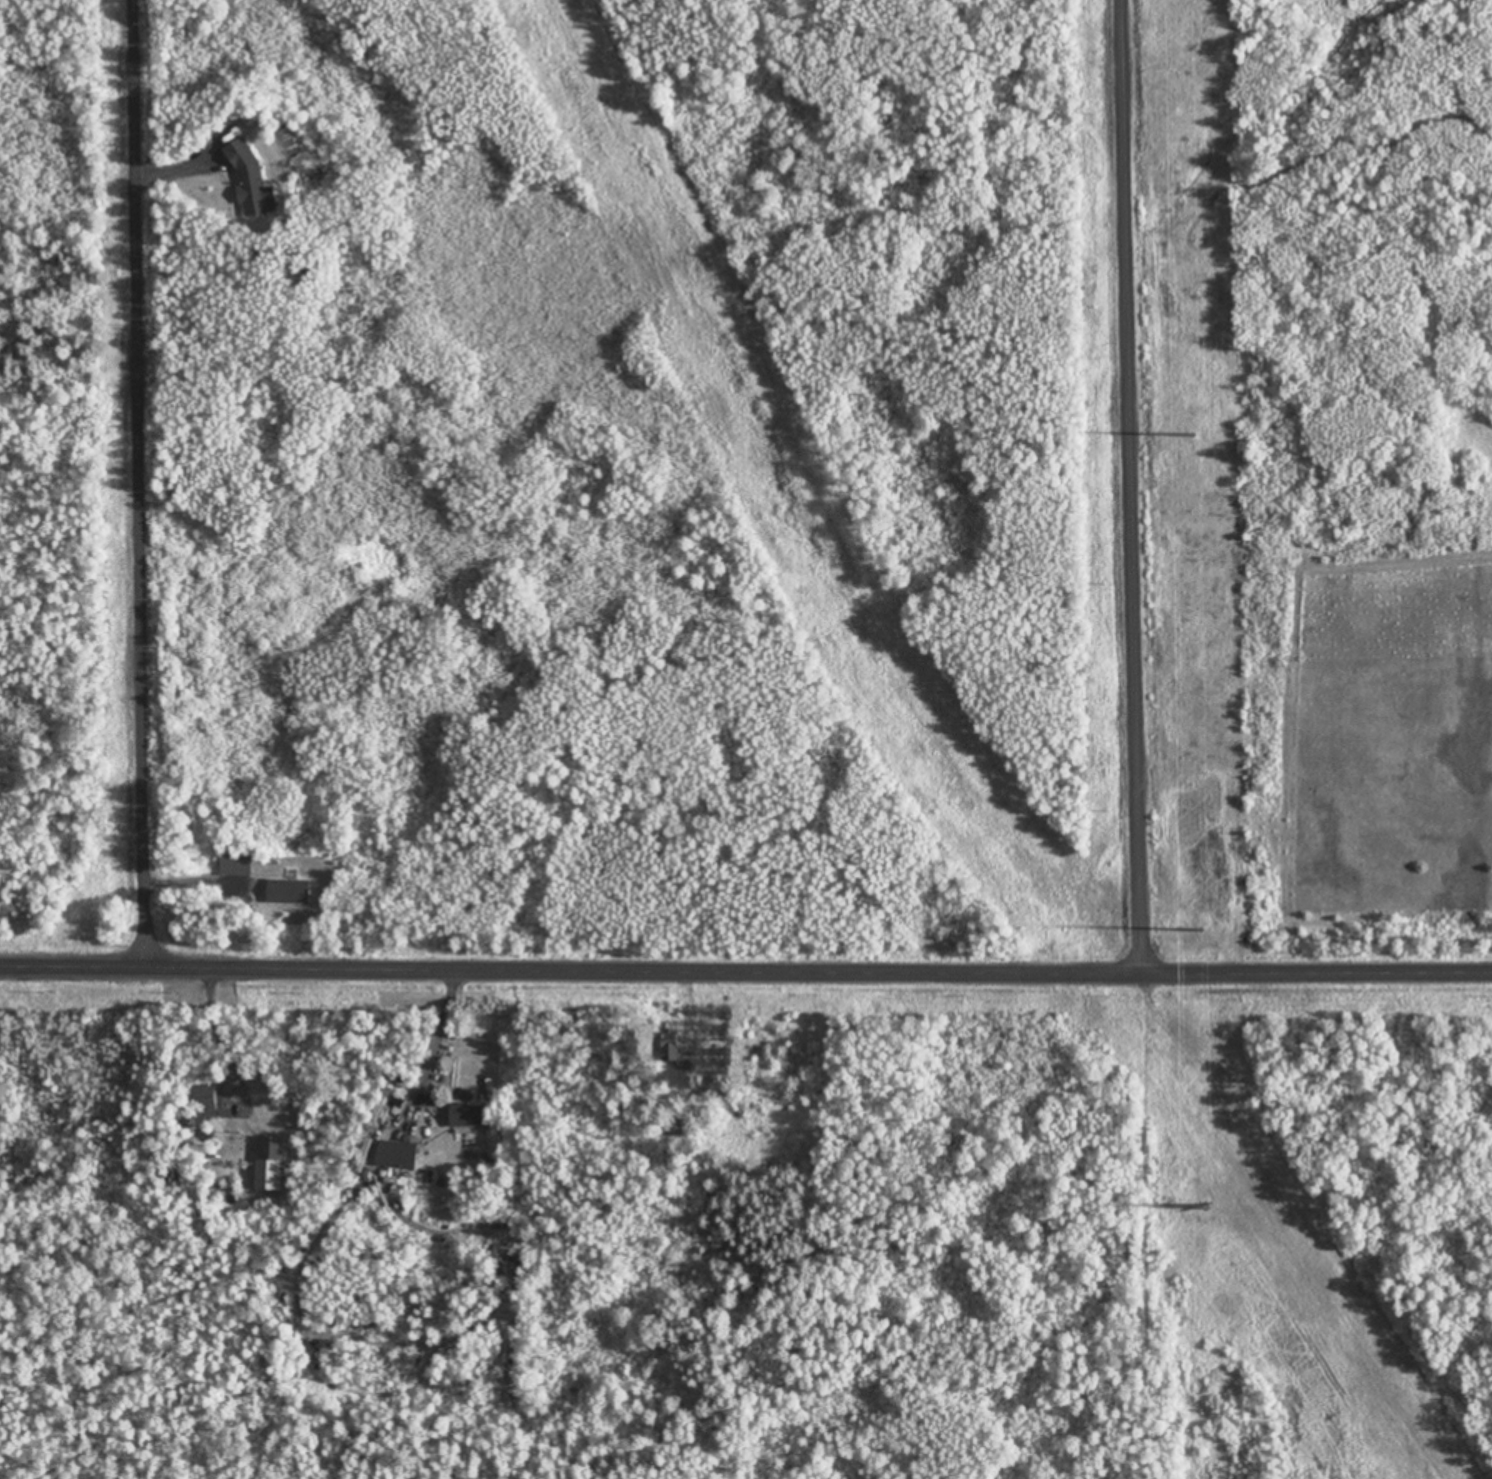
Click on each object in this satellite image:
building: (248, 180)
power tower: (1193, 432)
road: (148, 482)
road: (1132, 486)
building: (234, 864)
building: (287, 890)
power tower: (1200, 929)
road: (746, 968)
building: (673, 1054)
building: (203, 1098)
building: (470, 1115)
building: (674, 1128)
building: (396, 1155)
building: (268, 1163)
power tower: (1205, 1205)

